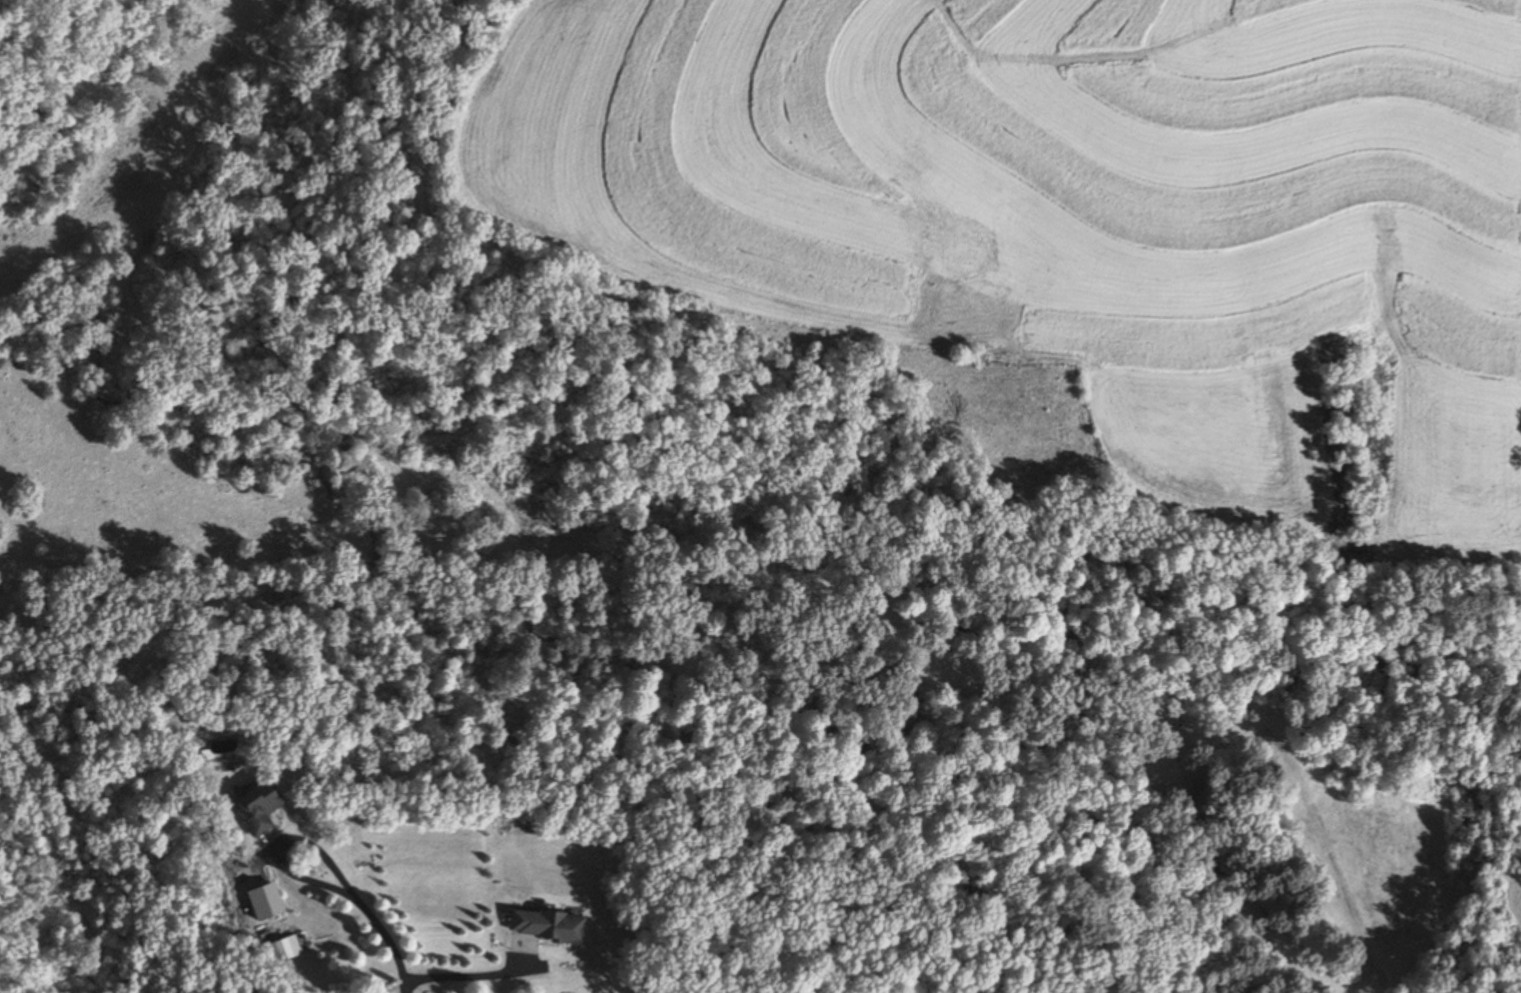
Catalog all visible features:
building: (1172, 732)
park: (1071, 779)
building: (262, 806)
road: (1323, 838)
road: (279, 844)
building: (551, 925)
road: (385, 939)
road: (465, 976)

